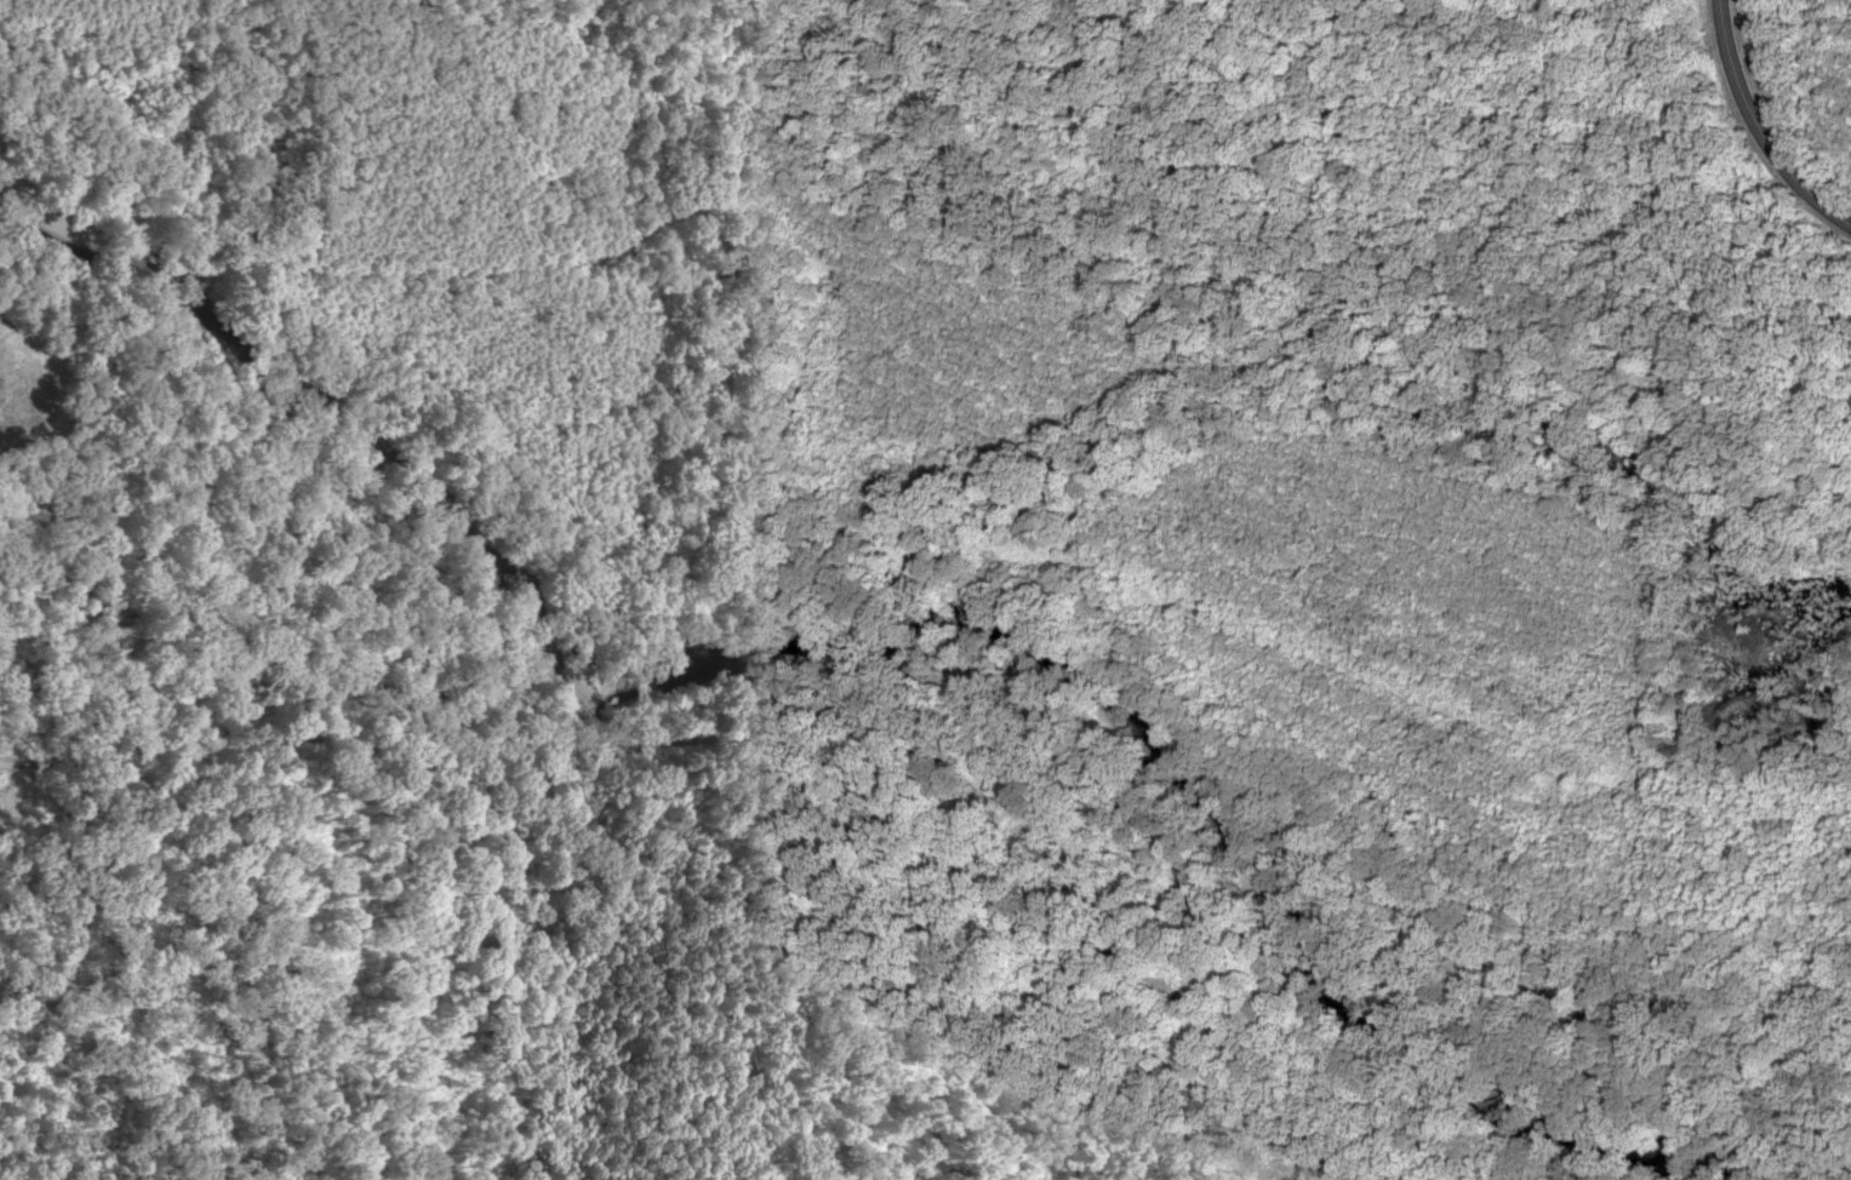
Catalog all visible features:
road: (1755, 131)
road: (742, 740)

